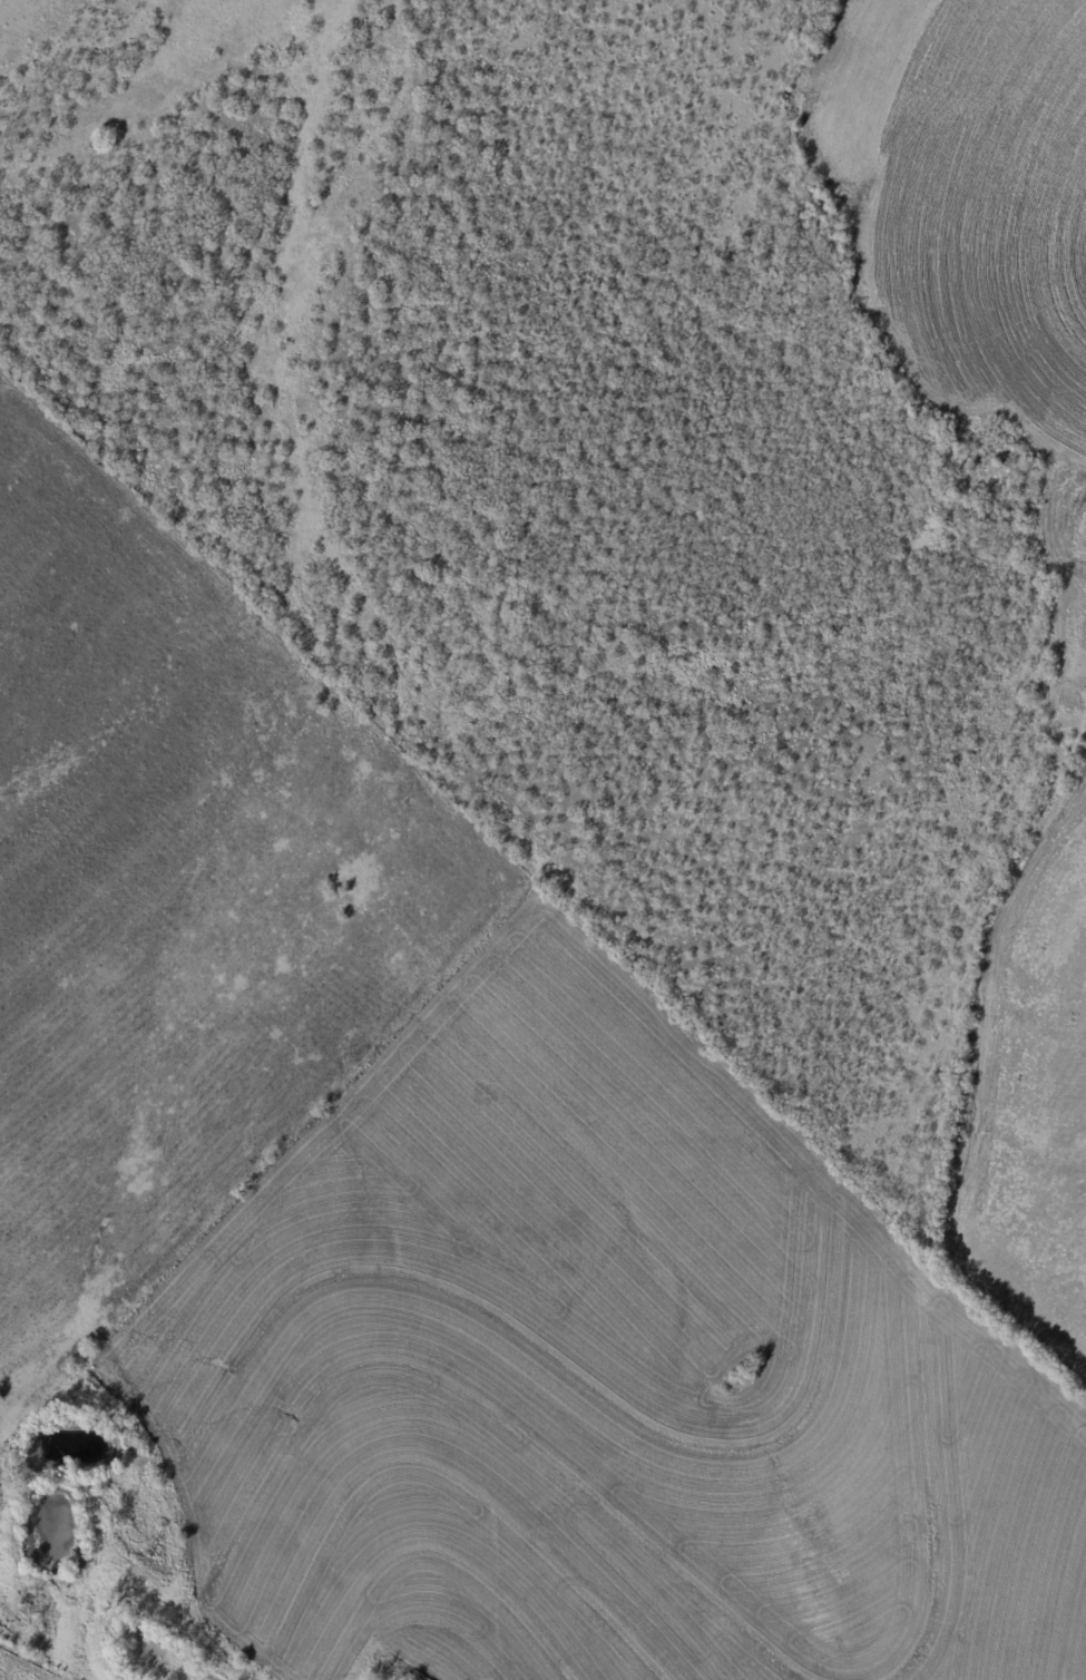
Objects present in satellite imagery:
building: (419, 1679)

